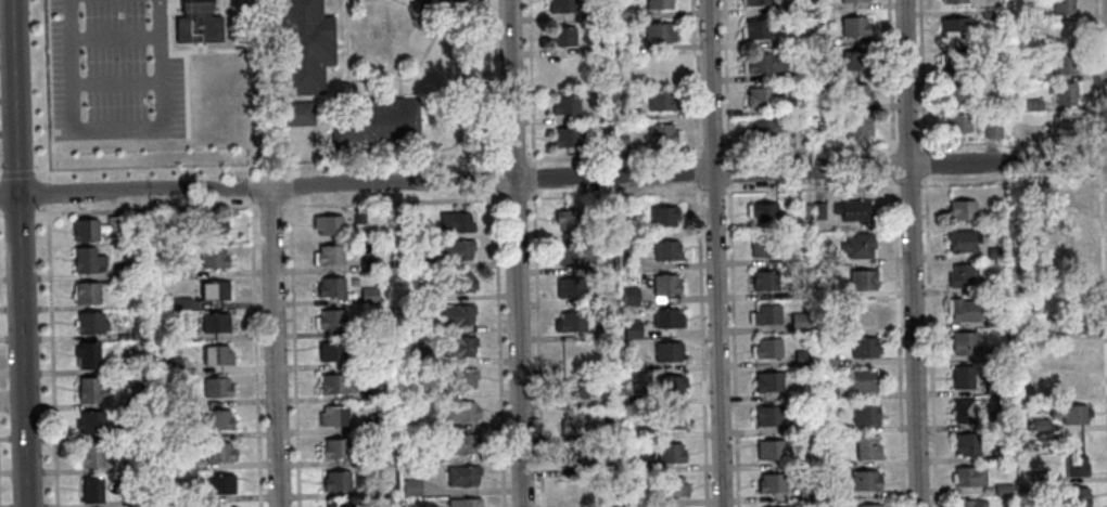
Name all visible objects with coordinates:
building: (856, 0)
building: (954, 1)
building: (423, 2)
building: (756, 2)
building: (657, 4)
building: (818, 4)
building: (560, 5)
building: (793, 5)
building: (1065, 6)
building: (990, 11)
road: (428, 12)
road: (459, 12)
parking lot: (472, 12)
building: (623, 13)
building: (597, 14)
building: (195, 23)
building: (855, 25)
building: (954, 26)
building: (756, 28)
building: (658, 32)
building: (559, 36)
building: (1064, 36)
road: (113, 37)
building: (820, 39)
building: (303, 45)
building: (623, 47)
building: (596, 48)
road: (186, 51)
building: (856, 60)
building: (764, 62)
building: (953, 62)
building: (1065, 63)
road: (345, 64)
building: (660, 66)
building: (564, 68)
building: (621, 68)
parking lot: (111, 70)
road: (922, 75)
road: (409, 76)
building: (825, 76)
road: (890, 76)
road: (726, 78)
road: (695, 79)
road: (531, 80)
road: (115, 81)
building: (600, 81)
road: (1097, 81)
road: (254, 88)
road: (44, 89)
building: (858, 92)
building: (1067, 92)
road: (184, 94)
building: (957, 94)
building: (762, 96)
building: (659, 101)
building: (824, 103)
building: (1034, 103)
building: (564, 104)
building: (792, 106)
building: (294, 113)
building: (601, 114)
building: (631, 114)
building: (959, 121)
building: (376, 122)
building: (858, 126)
building: (1067, 126)
road: (115, 127)
building: (992, 127)
building: (768, 129)
building: (822, 131)
building: (1018, 131)
building: (660, 133)
building: (565, 136)
road: (1106, 140)
building: (602, 141)
road: (1010, 141)
road: (907, 143)
building: (621, 144)
road: (810, 147)
road: (713, 151)
road: (614, 153)
road: (513, 157)
road: (494, 160)
road: (925, 162)
road: (892, 164)
road: (268, 165)
road: (17, 171)
road: (728, 171)
road: (697, 172)
road: (1106, 173)
road: (533, 177)
road: (494, 178)
road: (1011, 178)
road: (553, 179)
road: (909, 183)
road: (812, 185)
road: (251, 187)
road: (713, 187)
road: (47, 190)
road: (614, 192)
road: (512, 196)
building: (1067, 196)
road: (392, 200)
road: (270, 204)
building: (626, 205)
road: (145, 207)
building: (818, 208)
building: (964, 208)
building: (806, 209)
building: (852, 209)
road: (17, 211)
road: (1, 212)
building: (765, 212)
building: (400, 214)
building: (357, 216)
building: (664, 216)
building: (572, 219)
building: (1006, 219)
building: (454, 222)
building: (163, 223)
building: (327, 224)
building: (94, 229)
building: (208, 230)
building: (1068, 233)
building: (960, 240)
building: (1028, 242)
building: (765, 246)
building: (857, 246)
building: (451, 249)
building: (666, 249)
building: (998, 251)
road: (18, 252)
building: (571, 252)
road: (713, 252)
road: (908, 252)
road: (513, 253)
building: (330, 255)
building: (826, 256)
building: (212, 259)
building: (86, 260)
building: (417, 262)
building: (607, 262)
building: (631, 262)
building: (1068, 263)
building: (368, 264)
building: (131, 270)
building: (809, 273)
building: (962, 274)
building: (863, 278)
building: (765, 279)
building: (462, 283)
building: (665, 283)
road: (1103, 285)
building: (330, 287)
building: (568, 287)
building: (989, 288)
building: (214, 290)
building: (607, 292)
building: (85, 294)
building: (367, 295)
building: (417, 295)
building: (631, 295)
building: (1035, 302)
building: (181, 303)
building: (963, 309)
building: (865, 312)
building: (765, 313)
building: (457, 314)
building: (669, 316)
building: (995, 317)
building: (329, 320)
building: (801, 320)
building: (571, 322)
building: (88, 323)
building: (214, 323)
building: (1072, 323)
building: (827, 325)
building: (408, 326)
building: (633, 328)
building: (1026, 328)
building: (137, 333)
building: (170, 334)
road: (930, 340)
road: (898, 341)
building: (965, 342)
road: (701, 346)
road: (733, 346)
road: (293, 347)
building: (458, 347)
building: (766, 347)
building: (865, 347)
road: (273, 348)
road: (537, 349)
road: (498, 350)
building: (669, 351)
road: (255, 352)
building: (331, 352)
building: (994, 352)
building: (1073, 352)
road: (51, 354)
building: (572, 354)
building: (86, 355)
building: (216, 355)
building: (802, 355)
building: (418, 356)
building: (827, 356)
building: (813, 362)
building: (141, 363)
building: (170, 364)
building: (633, 364)
building: (610, 366)
building: (964, 376)
building: (458, 379)
building: (864, 379)
building: (768, 381)
building: (995, 383)
building: (1074, 383)
building: (335, 385)
building: (672, 386)
building: (215, 388)
building: (575, 388)
building: (382, 389)
building: (89, 390)
building: (829, 391)
building: (173, 396)
building: (634, 401)
building: (135, 402)
building: (964, 411)
building: (459, 412)
building: (1076, 413)
building: (866, 414)
building: (769, 415)
building: (995, 415)
building: (333, 417)
building: (216, 419)
building: (671, 420)
building: (376, 421)
building: (89, 422)
building: (574, 422)
building: (802, 422)
building: (835, 426)
building: (1042, 426)
building: (460, 444)
building: (968, 444)
building: (867, 446)
building: (333, 448)
building: (771, 448)
building: (217, 452)
building: (672, 452)
building: (425, 453)
building: (1000, 453)
building: (378, 455)
building: (92, 456)
building: (575, 457)
building: (837, 459)
building: (183, 463)
building: (807, 463)
building: (1077, 464)
building: (140, 465)
building: (634, 465)
building: (461, 476)
building: (969, 476)
building: (1041, 478)
building: (866, 480)
building: (334, 481)
building: (771, 483)
building: (219, 484)
building: (410, 486)
building: (678, 486)
building: (1003, 487)
building: (382, 490)
building: (91, 491)
building: (576, 491)
building: (830, 492)
building: (183, 494)
building: (806, 495)
building: (606, 497)
building: (1070, 498)
building: (142, 499)
building: (463, 503)
building: (971, 503)
building: (869, 505)
building: (226, 506)
building: (339, 506)

